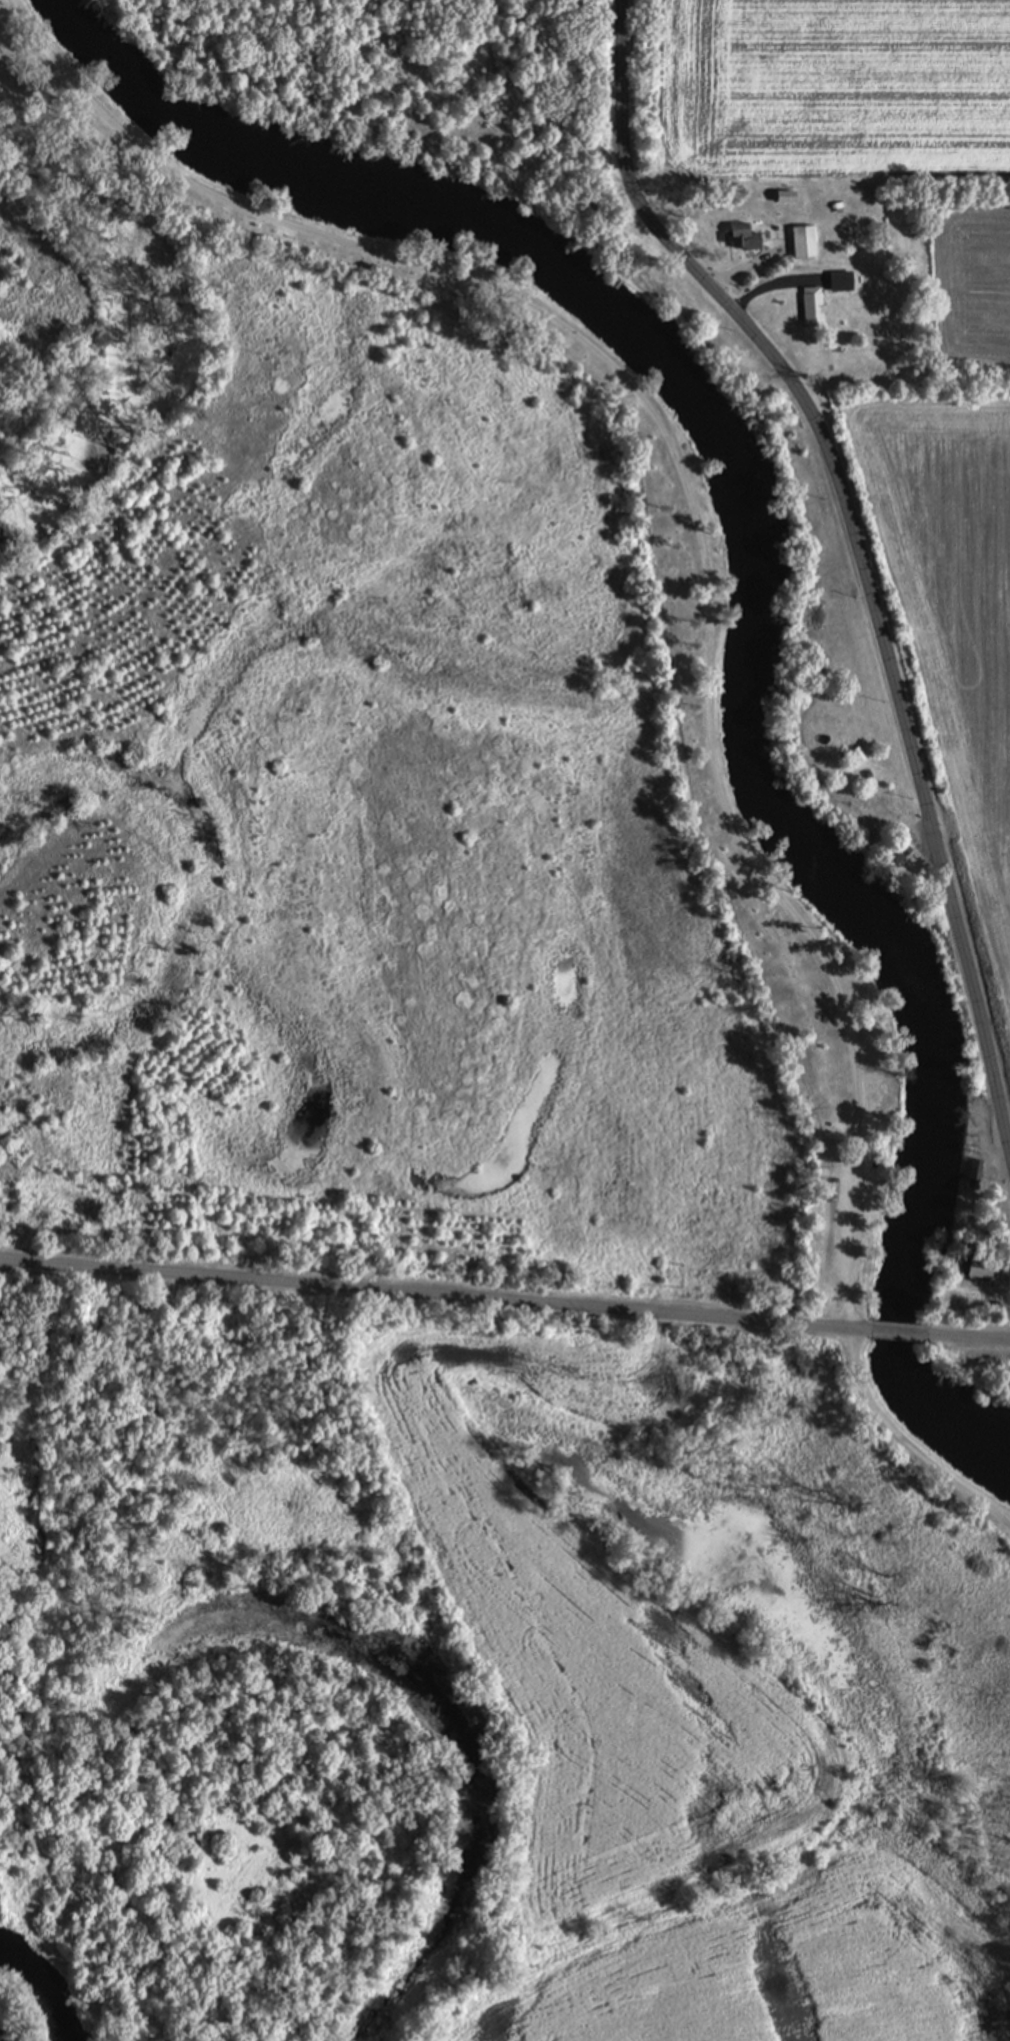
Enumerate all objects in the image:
building: (741, 236)
building: (802, 241)
road: (744, 266)
building: (840, 280)
road: (769, 285)
building: (812, 305)
road: (859, 552)
river: (762, 593)
road: (716, 628)
building: (895, 847)
building: (980, 1132)
building: (975, 1171)
building: (980, 1268)
road: (983, 1290)
road: (434, 1298)
road: (898, 1333)
road: (968, 1336)
river: (38, 1999)

